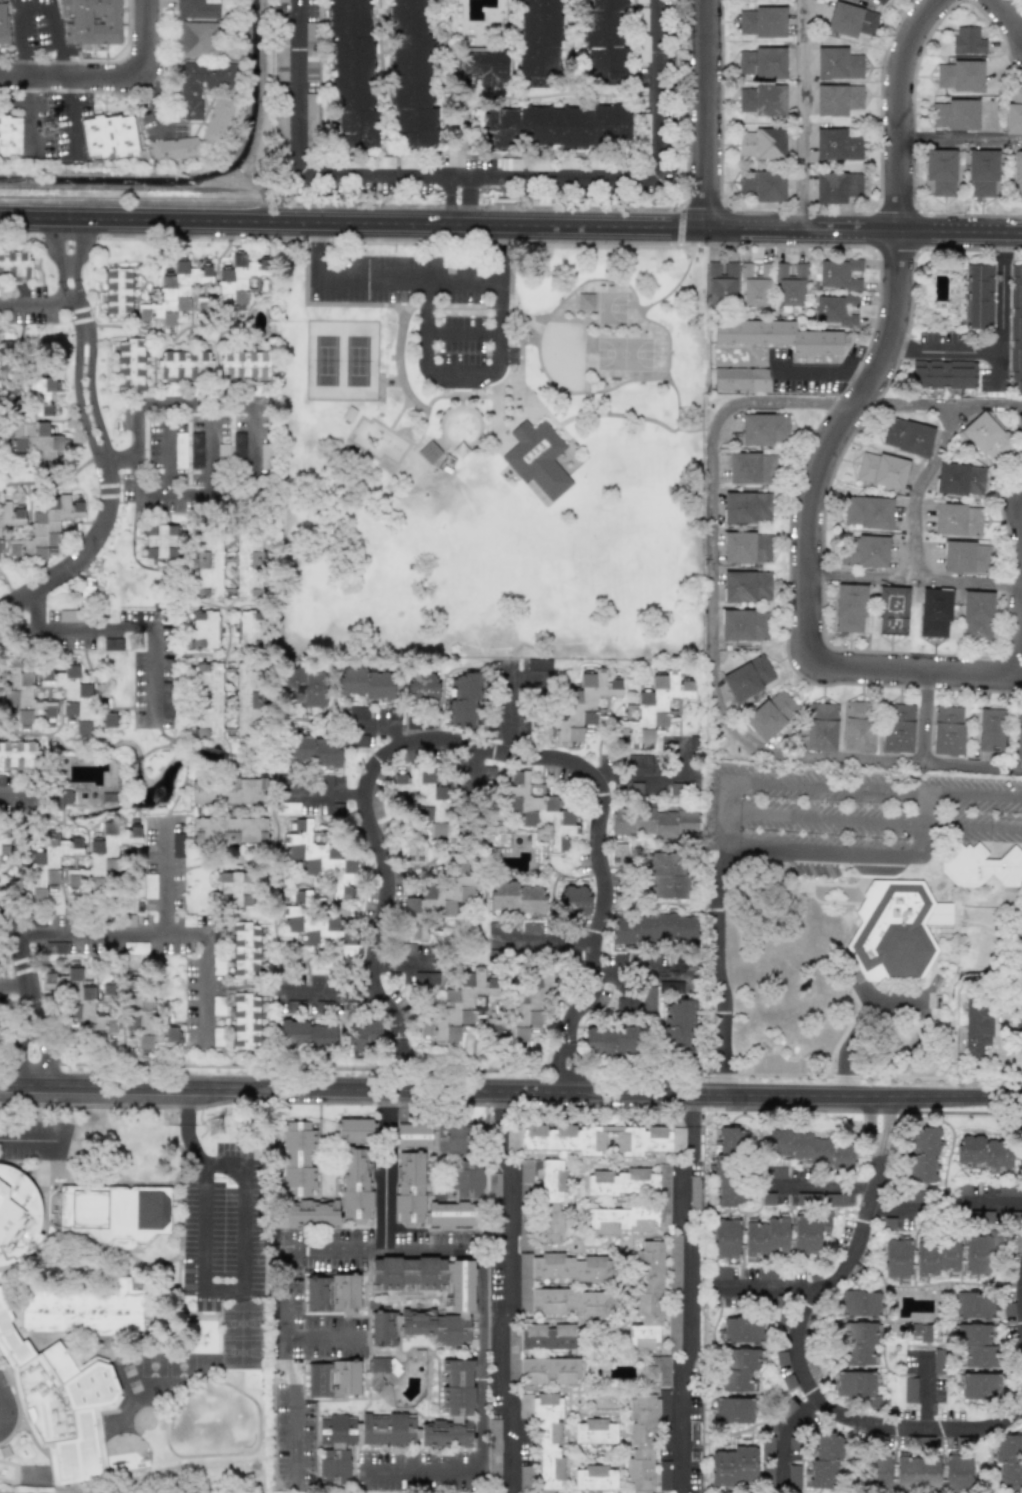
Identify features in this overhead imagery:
building: (282, 0)
building: (880, 1)
road: (36, 3)
building: (197, 9)
road: (1008, 14)
building: (851, 20)
building: (4, 21)
building: (90, 21)
building: (762, 22)
building: (539, 38)
building: (197, 40)
building: (967, 40)
building: (604, 42)
building: (643, 49)
building: (310, 51)
building: (281, 58)
building: (762, 62)
building: (838, 63)
building: (480, 68)
building: (352, 74)
building: (411, 74)
building: (959, 75)
road: (112, 76)
building: (201, 84)
building: (838, 99)
building: (762, 100)
road: (153, 108)
road: (31, 113)
road: (707, 113)
building: (1013, 113)
road: (800, 114)
building: (955, 114)
road: (70, 115)
building: (218, 119)
building: (310, 121)
power tower: (56, 126)
building: (556, 126)
building: (10, 134)
building: (644, 134)
building: (109, 136)
road: (961, 138)
building: (282, 142)
building: (761, 143)
building: (837, 144)
building: (174, 149)
building: (940, 171)
building: (982, 172)
building: (1017, 173)
road: (478, 176)
road: (448, 185)
building: (762, 185)
road: (469, 187)
building: (837, 187)
road: (448, 209)
road: (470, 211)
road: (510, 225)
road: (68, 248)
building: (14, 263)
building: (838, 274)
parking lot: (410, 280)
road: (412, 281)
building: (721, 282)
building: (755, 285)
building: (790, 285)
building: (231, 286)
building: (118, 292)
building: (174, 293)
building: (978, 296)
building: (585, 301)
road: (39, 303)
building: (834, 309)
park: (613, 311)
building: (1016, 329)
road: (463, 331)
building: (779, 335)
road: (539, 346)
road: (1003, 348)
park: (624, 356)
park: (341, 360)
road: (401, 362)
building: (130, 365)
building: (184, 365)
building: (244, 365)
road: (999, 365)
road: (824, 369)
building: (943, 373)
road: (463, 374)
building: (740, 379)
building: (41, 393)
road: (191, 401)
road: (792, 403)
road: (989, 407)
road: (620, 414)
road: (678, 416)
water park: (460, 425)
building: (765, 428)
building: (1021, 429)
road: (833, 431)
road: (214, 436)
building: (907, 436)
building: (987, 437)
building: (36, 441)
building: (238, 445)
building: (180, 450)
building: (196, 450)
building: (223, 451)
building: (429, 452)
park: (494, 452)
building: (265, 456)
building: (537, 458)
building: (752, 468)
building: (882, 470)
road: (107, 471)
building: (960, 479)
road: (918, 489)
road: (166, 490)
building: (746, 507)
building: (868, 511)
building: (10, 515)
building: (957, 519)
building: (45, 527)
building: (160, 541)
building: (747, 547)
building: (0, 550)
building: (864, 551)
building: (966, 557)
building: (248, 561)
building: (207, 564)
road: (860, 577)
building: (746, 586)
building: (87, 588)
building: (849, 608)
building: (892, 610)
building: (935, 612)
building: (977, 615)
building: (744, 625)
road: (122, 626)
building: (250, 629)
building: (203, 630)
road: (1019, 639)
power tower: (140, 643)
building: (113, 644)
building: (539, 664)
building: (748, 678)
building: (365, 683)
building: (303, 687)
building: (421, 687)
building: (21, 692)
building: (248, 698)
building: (75, 699)
building: (208, 699)
building: (464, 700)
building: (584, 705)
building: (652, 708)
road: (509, 710)
building: (359, 712)
road: (721, 714)
building: (771, 714)
road: (924, 717)
building: (522, 724)
road: (378, 725)
building: (858, 726)
road: (277, 727)
building: (821, 727)
building: (897, 728)
building: (494, 730)
building: (947, 730)
building: (990, 730)
building: (1019, 735)
road: (166, 738)
road: (187, 743)
road: (162, 746)
road: (478, 747)
road: (216, 750)
building: (314, 751)
building: (18, 755)
road: (137, 759)
road: (183, 759)
road: (653, 770)
building: (488, 772)
road: (805, 788)
road: (180, 790)
building: (229, 790)
building: (429, 801)
building: (287, 808)
road: (923, 809)
building: (539, 810)
road: (827, 820)
building: (654, 822)
road: (972, 826)
building: (229, 831)
building: (4, 841)
building: (177, 845)
road: (842, 851)
building: (414, 852)
building: (103, 854)
building: (619, 854)
building: (321, 858)
building: (47, 864)
building: (981, 866)
building: (666, 875)
building: (235, 888)
building: (517, 897)
building: (437, 900)
building: (574, 900)
building: (319, 928)
building: (531, 928)
building: (654, 928)
building: (892, 930)
road: (146, 937)
road: (547, 944)
building: (57, 948)
building: (135, 948)
building: (408, 948)
building: (245, 950)
building: (654, 961)
road: (25, 970)
road: (643, 972)
road: (201, 974)
building: (426, 978)
road: (14, 981)
building: (671, 987)
building: (110, 992)
road: (334, 993)
building: (79, 1001)
building: (638, 1001)
building: (457, 1006)
road: (723, 1006)
building: (523, 1010)
building: (1019, 1013)
building: (143, 1017)
building: (246, 1021)
building: (678, 1027)
building: (977, 1029)
building: (307, 1034)
building: (363, 1035)
building: (217, 1037)
road: (859, 1038)
building: (612, 1040)
road: (1004, 1040)
road: (35, 1053)
road: (401, 1062)
road: (569, 1065)
road: (844, 1086)
road: (511, 1089)
road: (880, 1113)
power tower: (223, 1128)
building: (355, 1130)
building: (413, 1135)
building: (451, 1137)
building: (601, 1139)
road: (29, 1141)
building: (731, 1141)
building: (808, 1149)
building: (984, 1152)
building: (922, 1154)
road: (383, 1169)
building: (774, 1173)
building: (299, 1177)
building: (466, 1178)
building: (526, 1178)
building: (726, 1180)
building: (493, 1185)
road: (817, 1185)
building: (409, 1187)
building: (1010, 1191)
building: (694, 1192)
building: (911, 1197)
building: (808, 1198)
building: (551, 1199)
building: (836, 1200)
building: (665, 1201)
road: (995, 1202)
road: (245, 1206)
road: (891, 1211)
building: (115, 1213)
building: (452, 1214)
building: (17, 1215)
building: (981, 1217)
building: (809, 1231)
building: (766, 1236)
building: (725, 1238)
road: (202, 1241)
road: (424, 1252)
building: (979, 1252)
building: (936, 1256)
building: (896, 1258)
building: (674, 1263)
building: (720, 1273)
building: (768, 1274)
building: (525, 1285)
road: (504, 1287)
road: (766, 1288)
road: (683, 1292)
building: (332, 1293)
building: (461, 1299)
building: (648, 1299)
building: (859, 1303)
building: (973, 1305)
building: (83, 1309)
building: (674, 1327)
building: (741, 1329)
building: (921, 1331)
building: (549, 1337)
road: (317, 1341)
building: (857, 1344)
building: (977, 1345)
building: (938, 1361)
road: (800, 1363)
building: (379, 1364)
building: (739, 1369)
building: (549, 1370)
building: (656, 1371)
building: (333, 1379)
building: (979, 1386)
building: (858, 1387)
building: (910, 1390)
road: (925, 1391)
building: (457, 1392)
building: (61, 1403)
building: (733, 1410)
road: (1018, 1412)
road: (6, 1419)
building: (594, 1431)
building: (545, 1435)
building: (645, 1437)
road: (782, 1437)
building: (694, 1440)
building: (767, 1446)
building: (335, 1448)
building: (494, 1449)
building: (824, 1461)
building: (1009, 1462)
building: (733, 1466)
building: (877, 1473)
building: (917, 1473)
building: (957, 1473)
building: (664, 1475)
building: (767, 1475)
building: (794, 1476)
building: (525, 1478)
building: (595, 1478)

